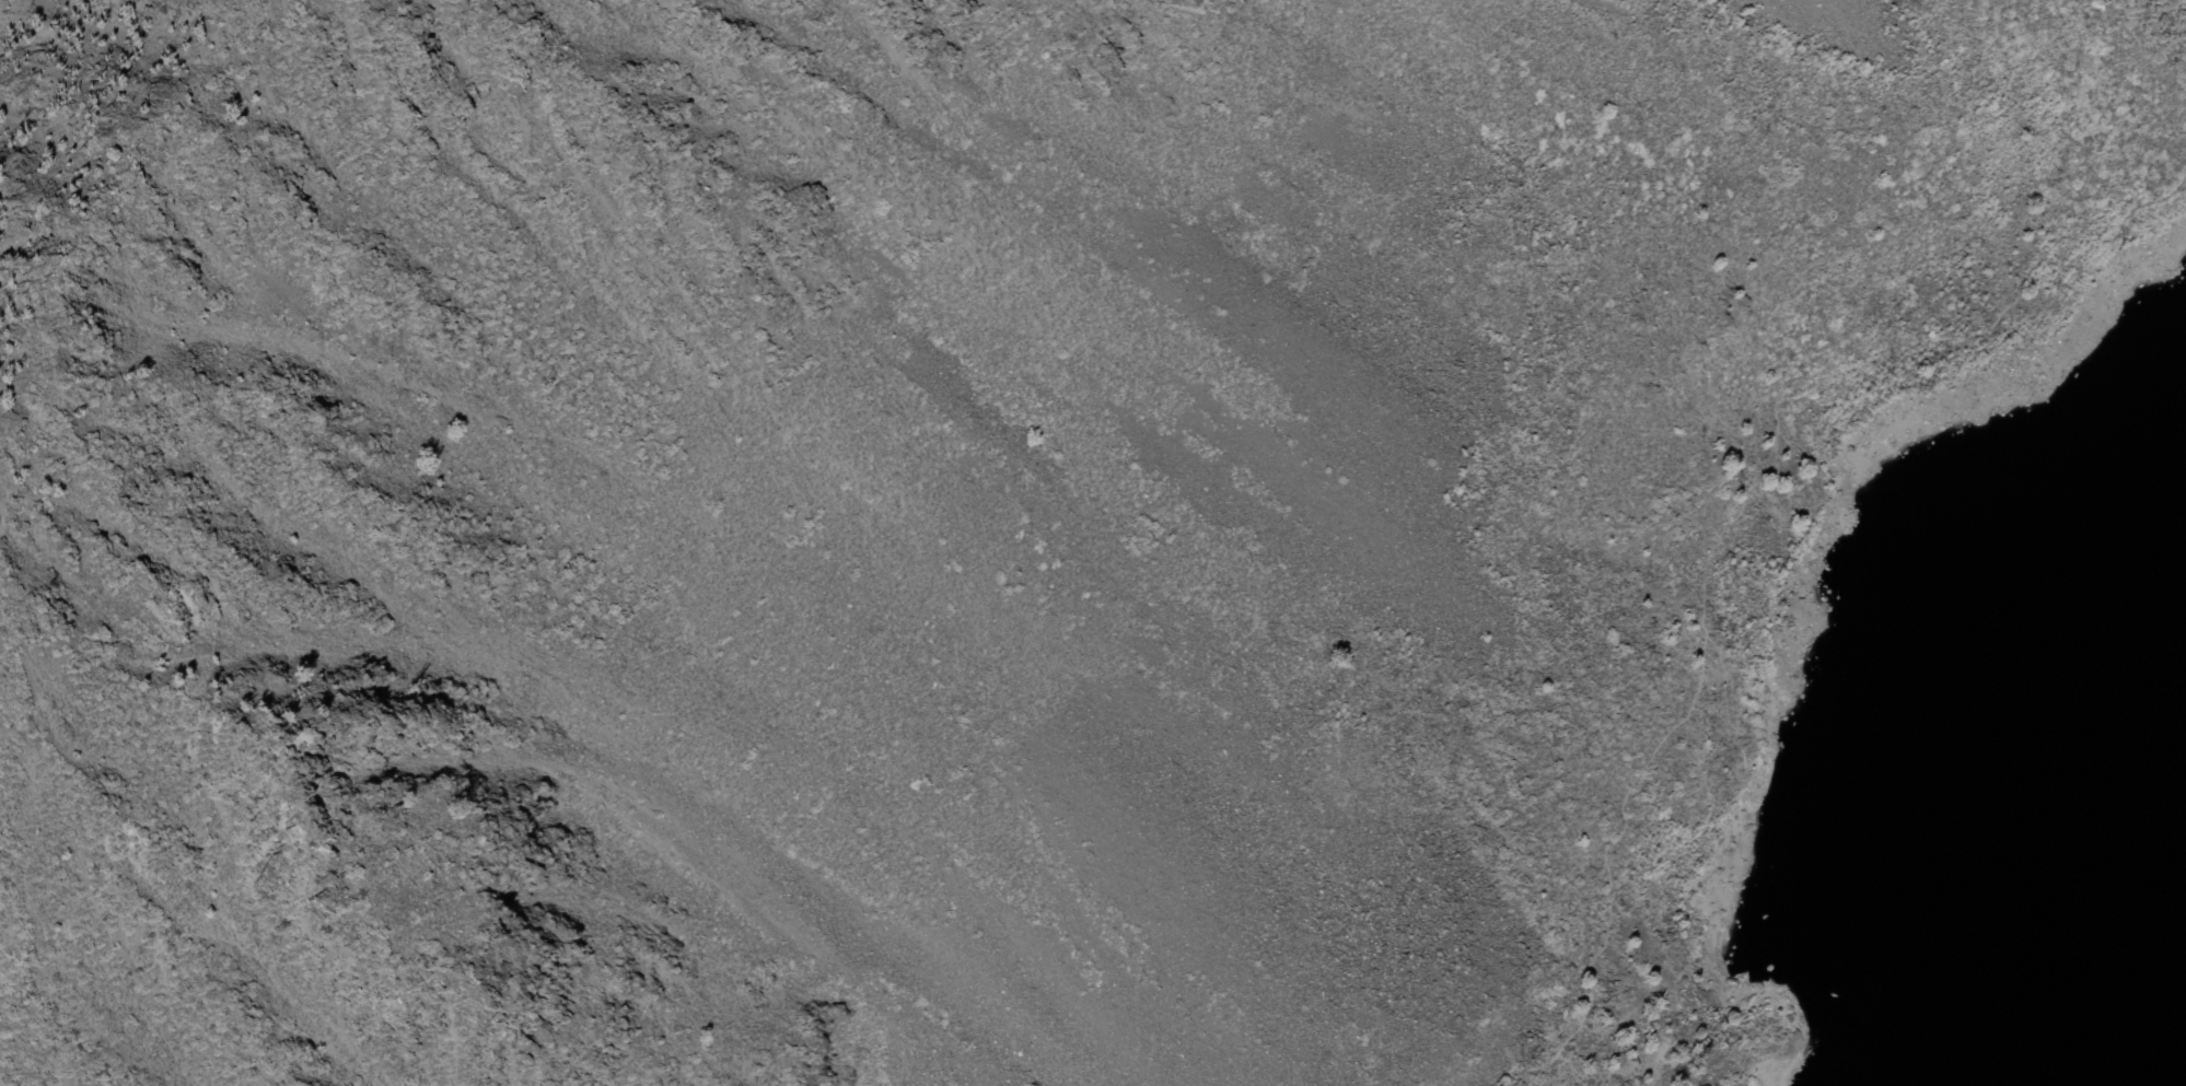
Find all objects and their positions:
road: (1725, 539)

